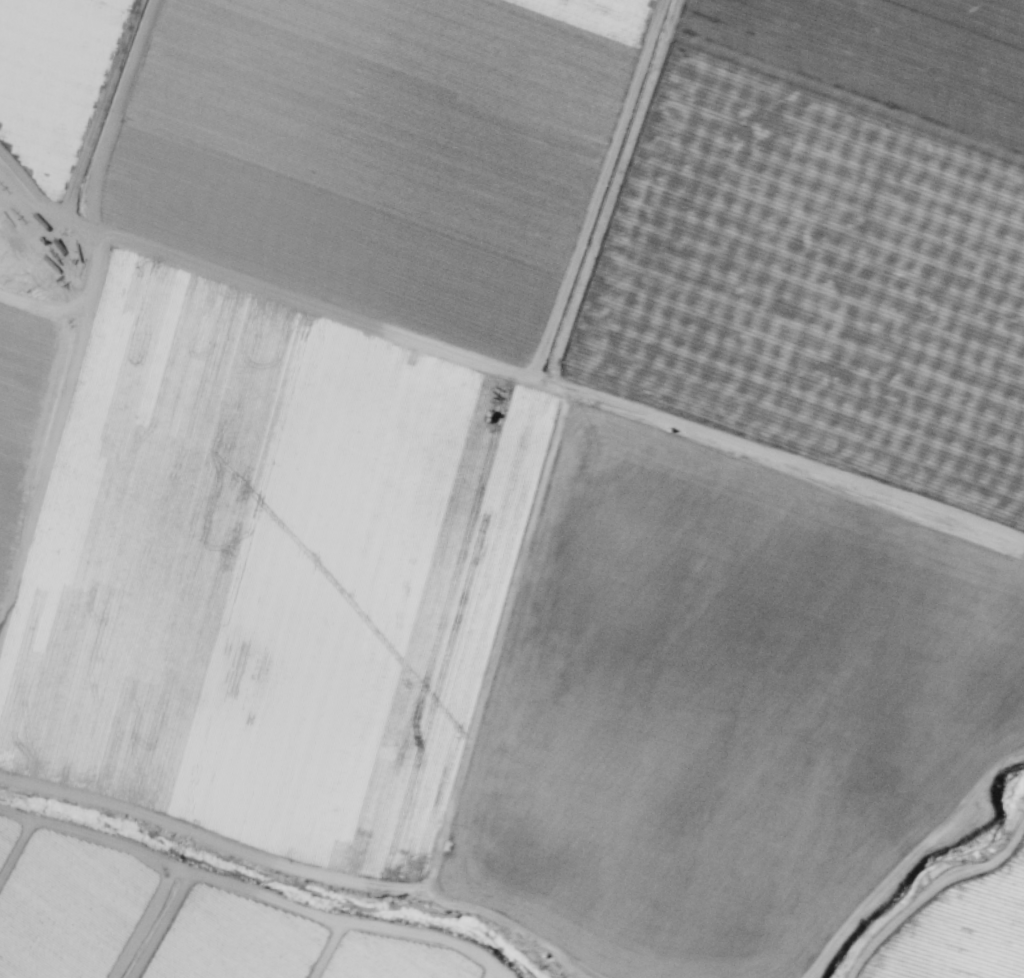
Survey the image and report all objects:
road: (103, 109)
road: (595, 189)
road: (37, 310)
road: (499, 368)
road: (56, 379)
road: (12, 457)
crop: (517, 491)
road: (495, 642)
road: (21, 861)
road: (913, 861)
road: (298, 872)
road: (929, 889)
road: (253, 893)
road: (981, 904)
road: (142, 923)
road: (160, 926)
road: (324, 950)
road: (488, 973)

